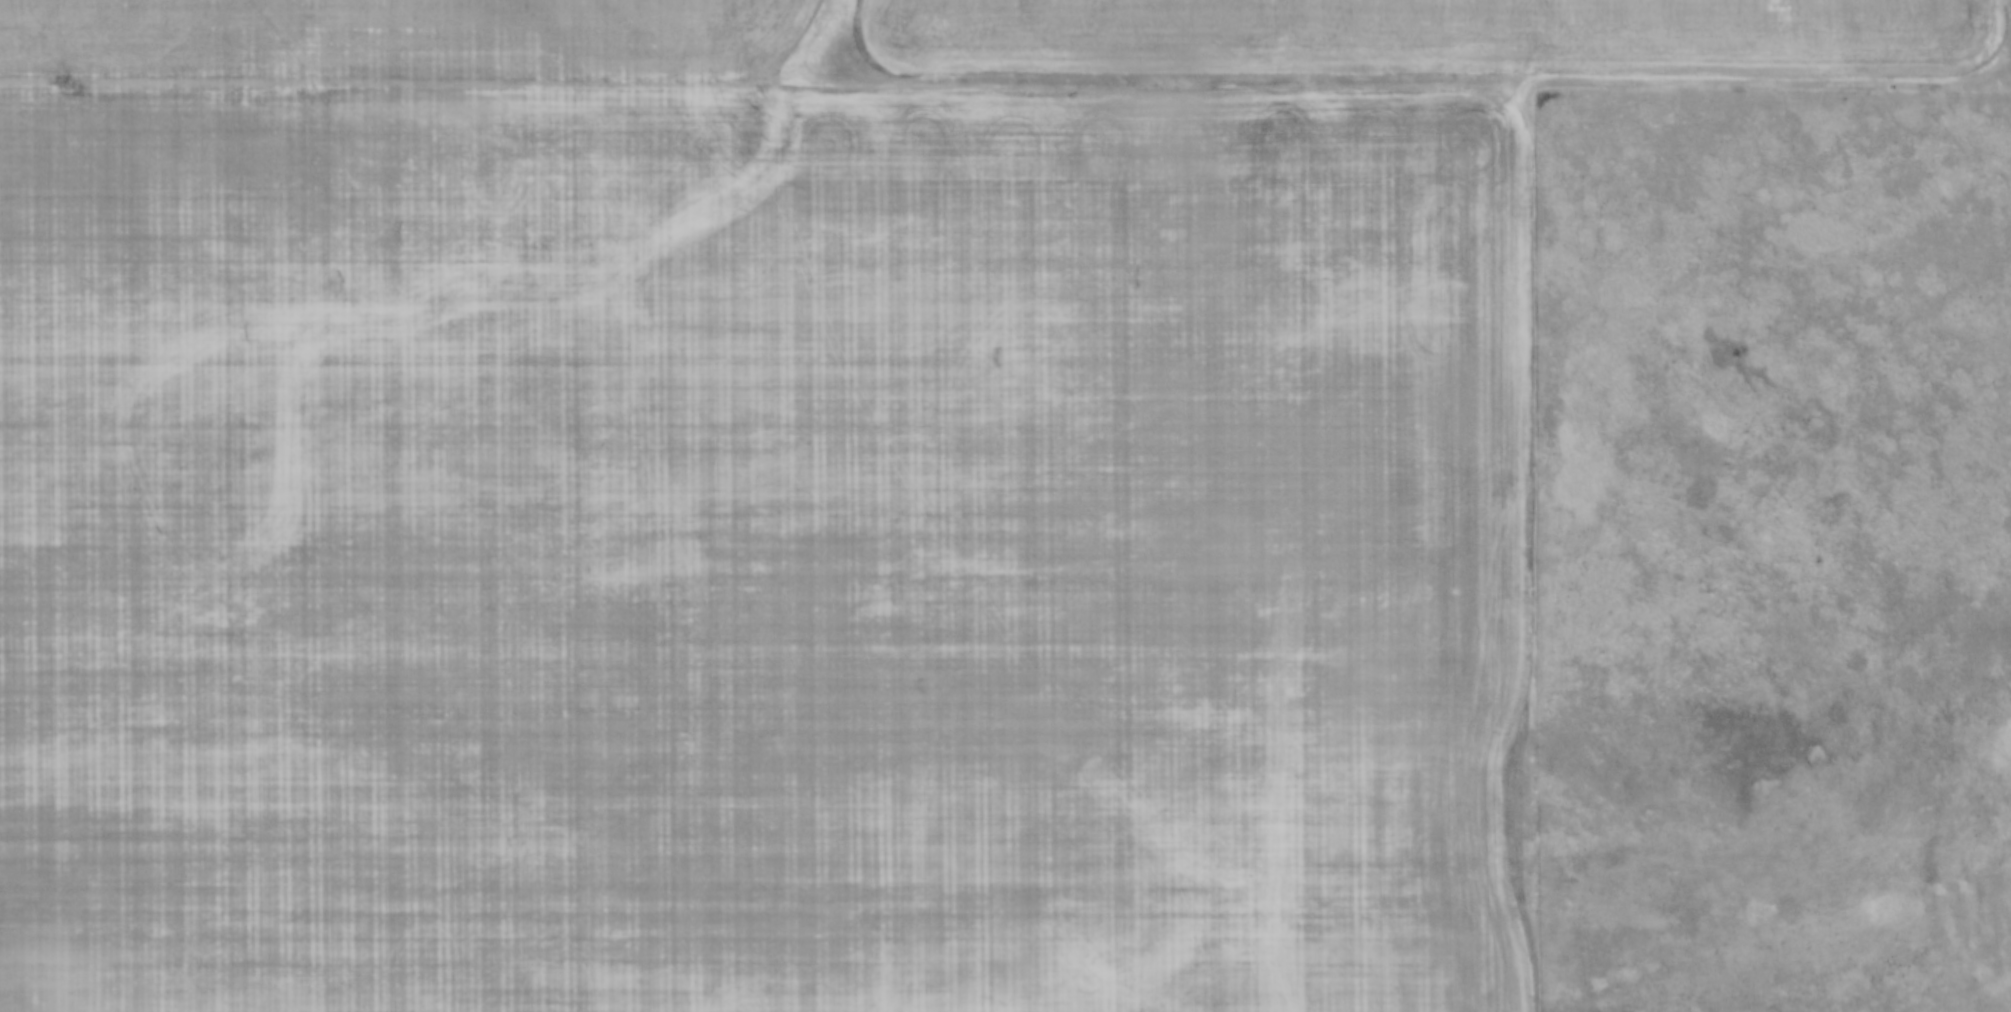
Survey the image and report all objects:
road: (1005, 70)

